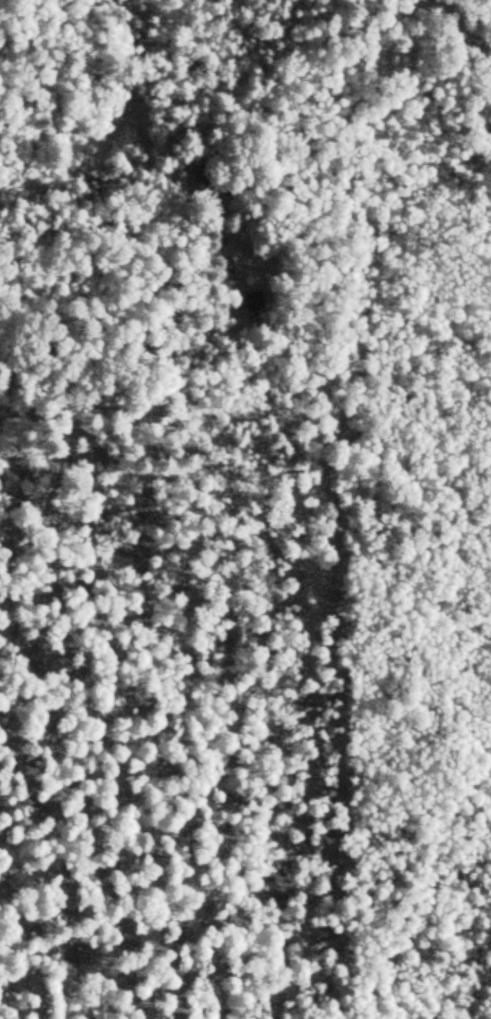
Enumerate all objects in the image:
road: (461, 31)
building: (253, 301)

